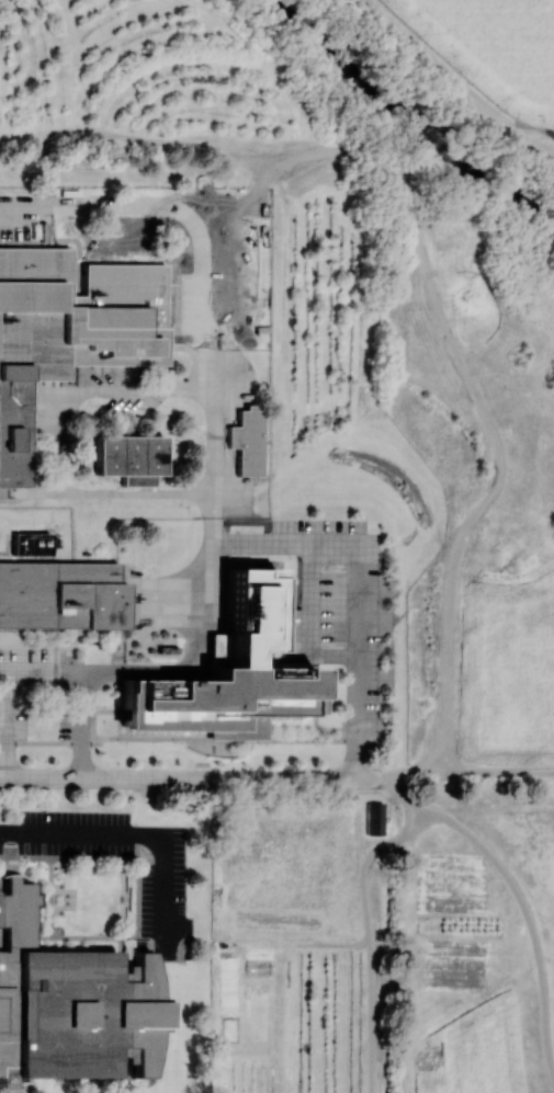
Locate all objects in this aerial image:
crop: (496, 46)
river: (407, 118)
building: (52, 344)
road: (214, 430)
building: (246, 441)
building: (129, 457)
building: (30, 544)
road: (4, 546)
building: (60, 595)
road: (161, 596)
road: (355, 608)
building: (223, 673)
road: (2, 683)
road: (222, 741)
road: (190, 776)
road: (404, 794)
building: (373, 818)
road: (137, 831)
crop: (284, 874)
road: (529, 915)
crop: (457, 930)
road: (372, 936)
building: (69, 1004)
crop: (292, 1021)
building: (229, 1029)
crop: (473, 1051)

